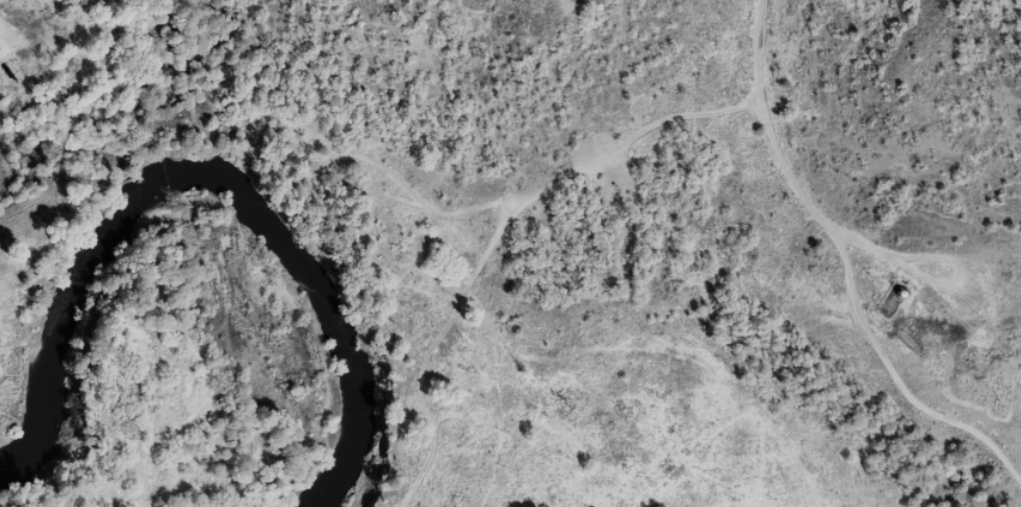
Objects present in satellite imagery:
road: (804, 224)

